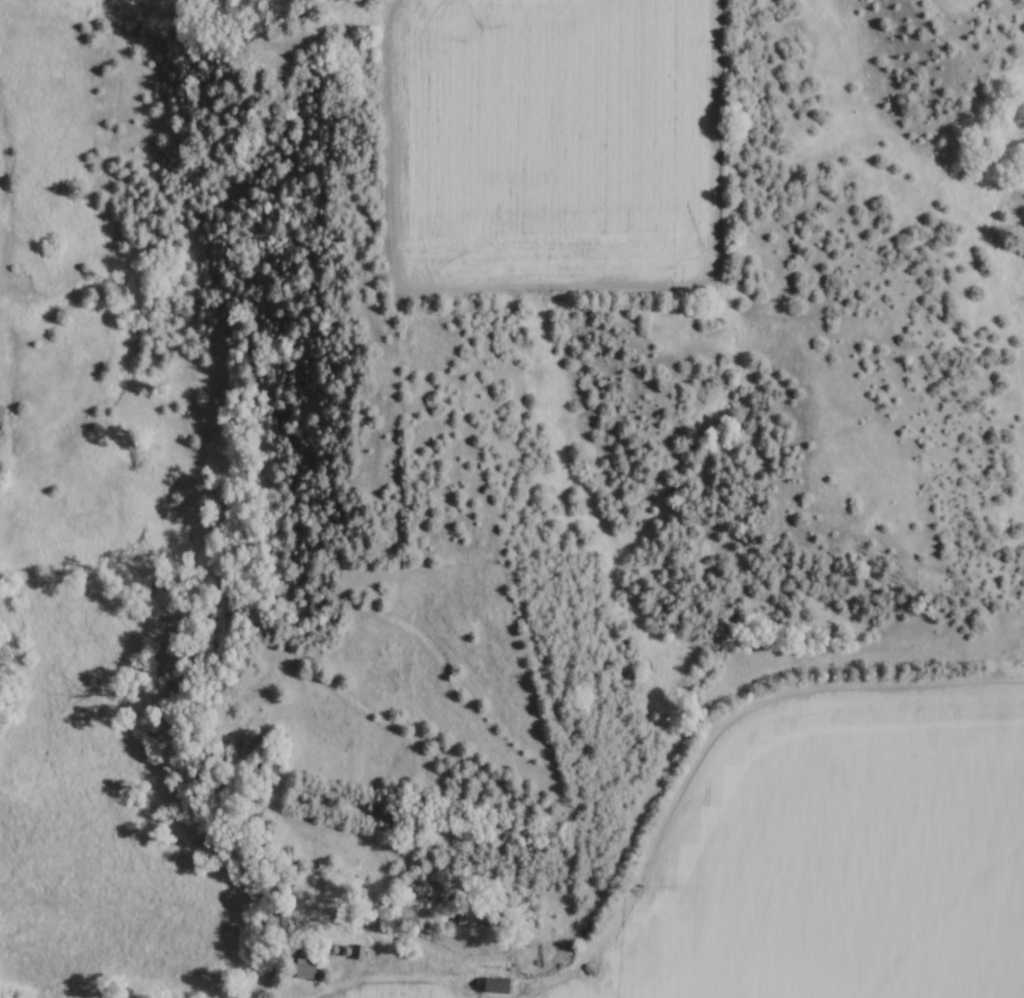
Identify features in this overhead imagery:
building: (358, 951)
building: (310, 966)
building: (497, 983)
road: (368, 990)

